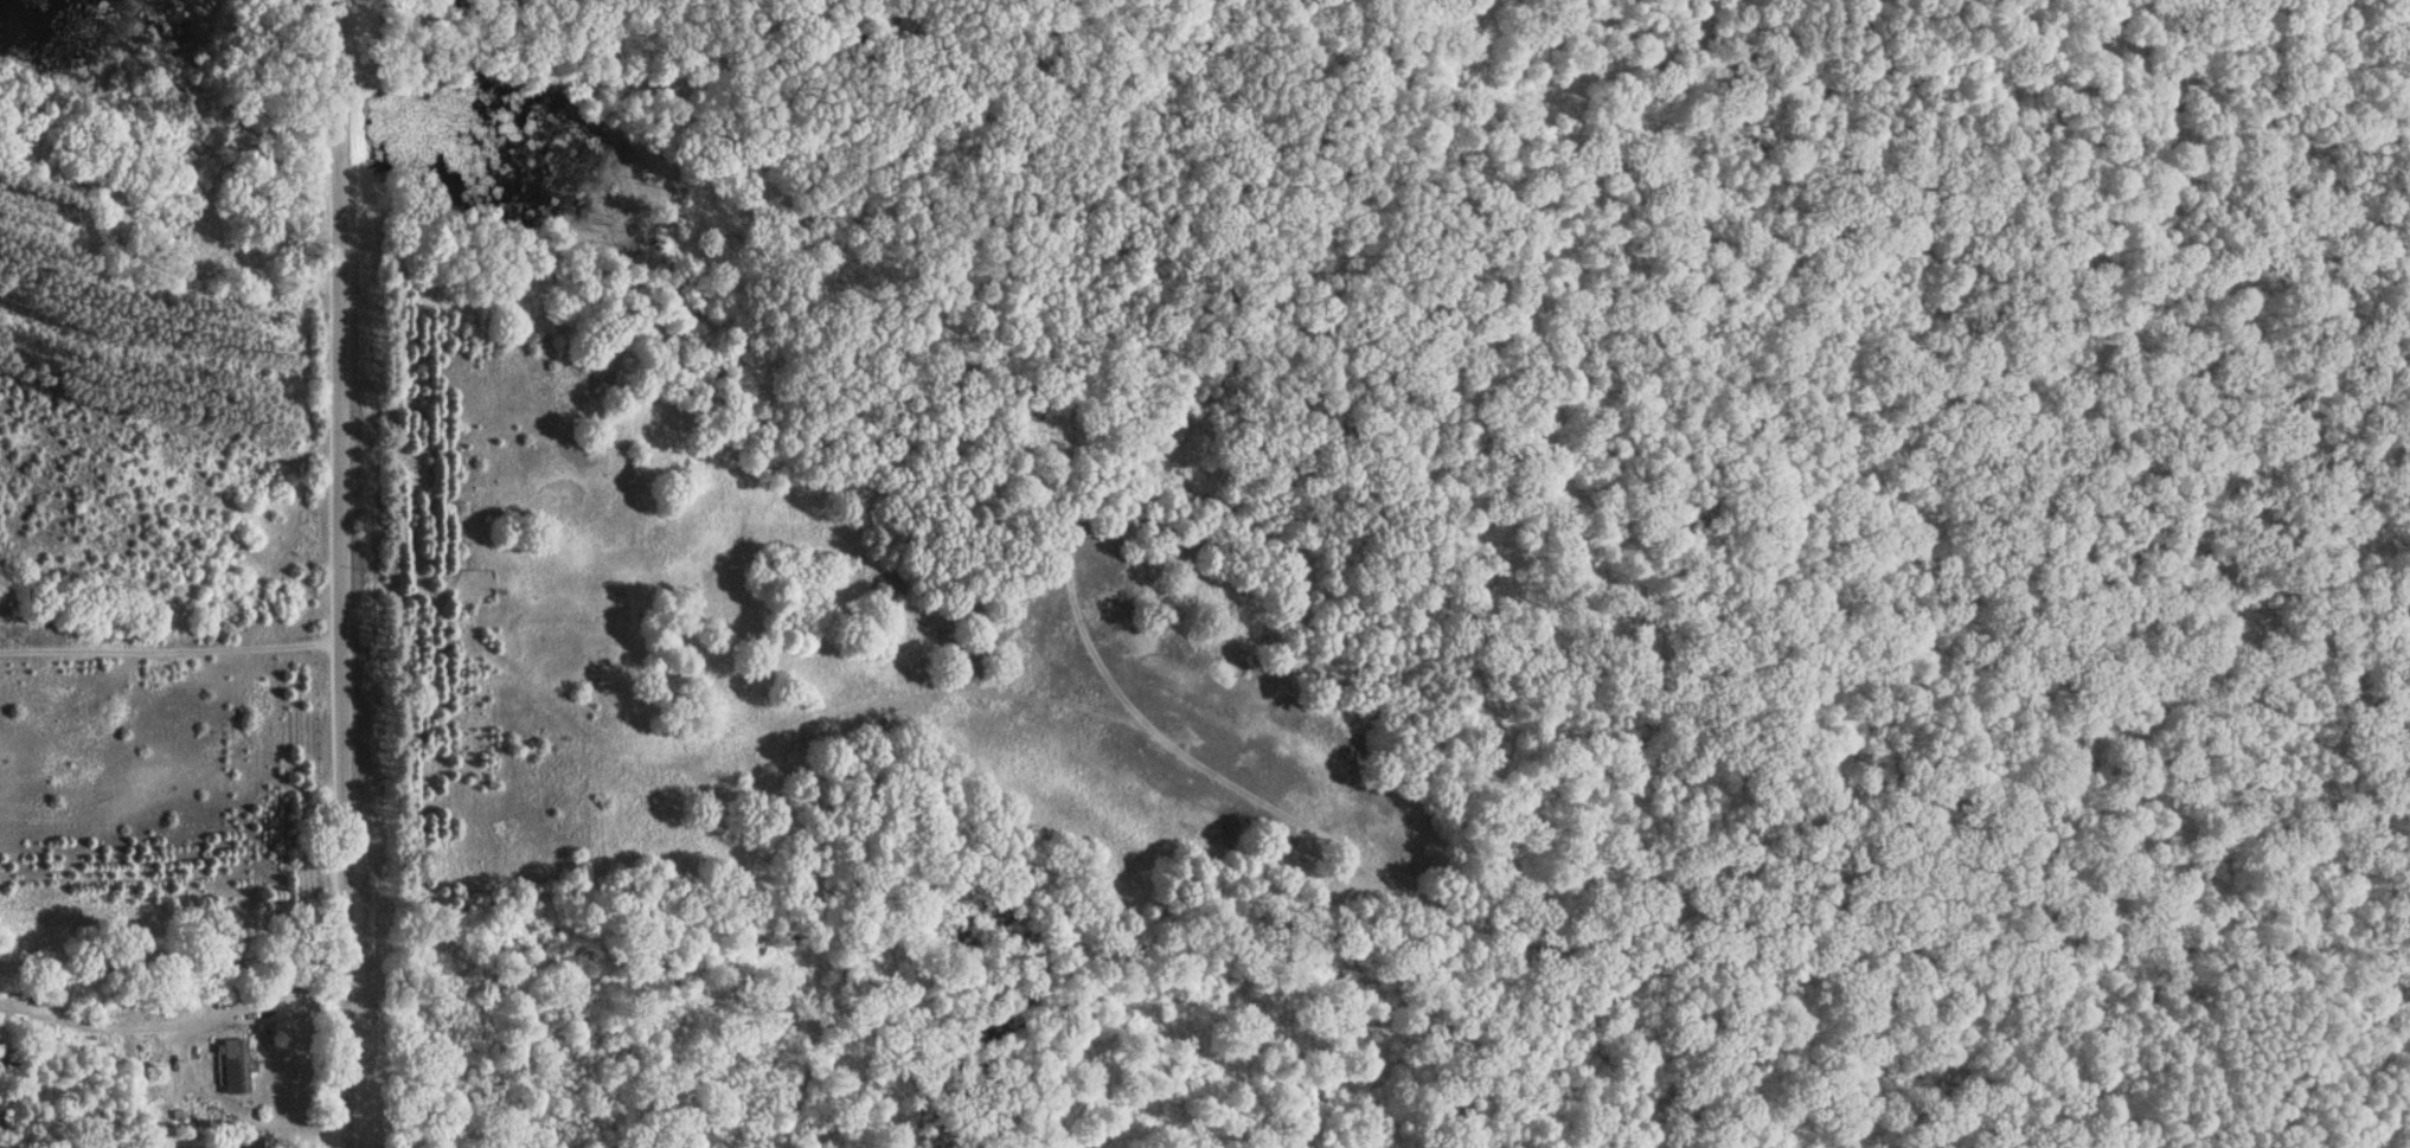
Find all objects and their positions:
road: (338, 573)
road: (41, 639)
road: (169, 649)
building: (233, 1062)

